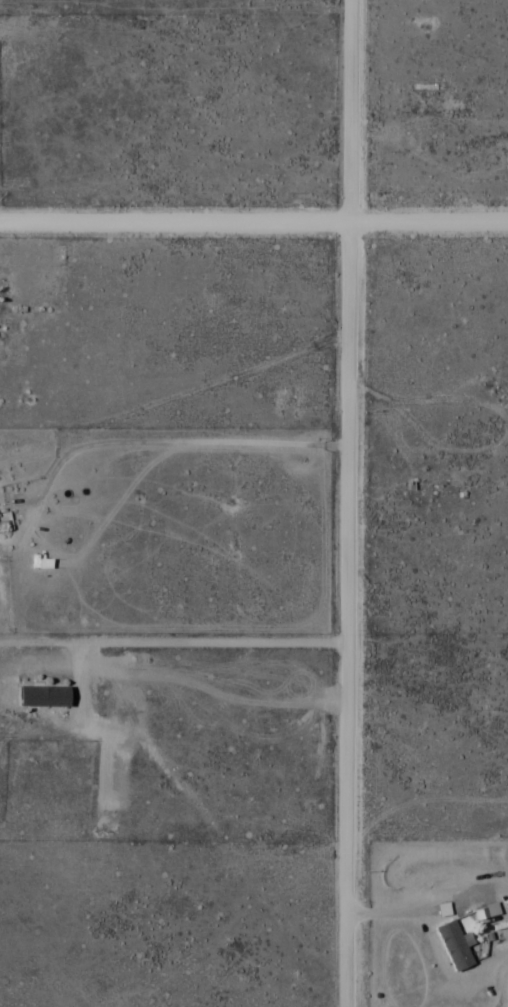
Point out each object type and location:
building: (423, 89)
road: (254, 222)
building: (500, 383)
road: (345, 503)
building: (40, 697)
building: (452, 947)

